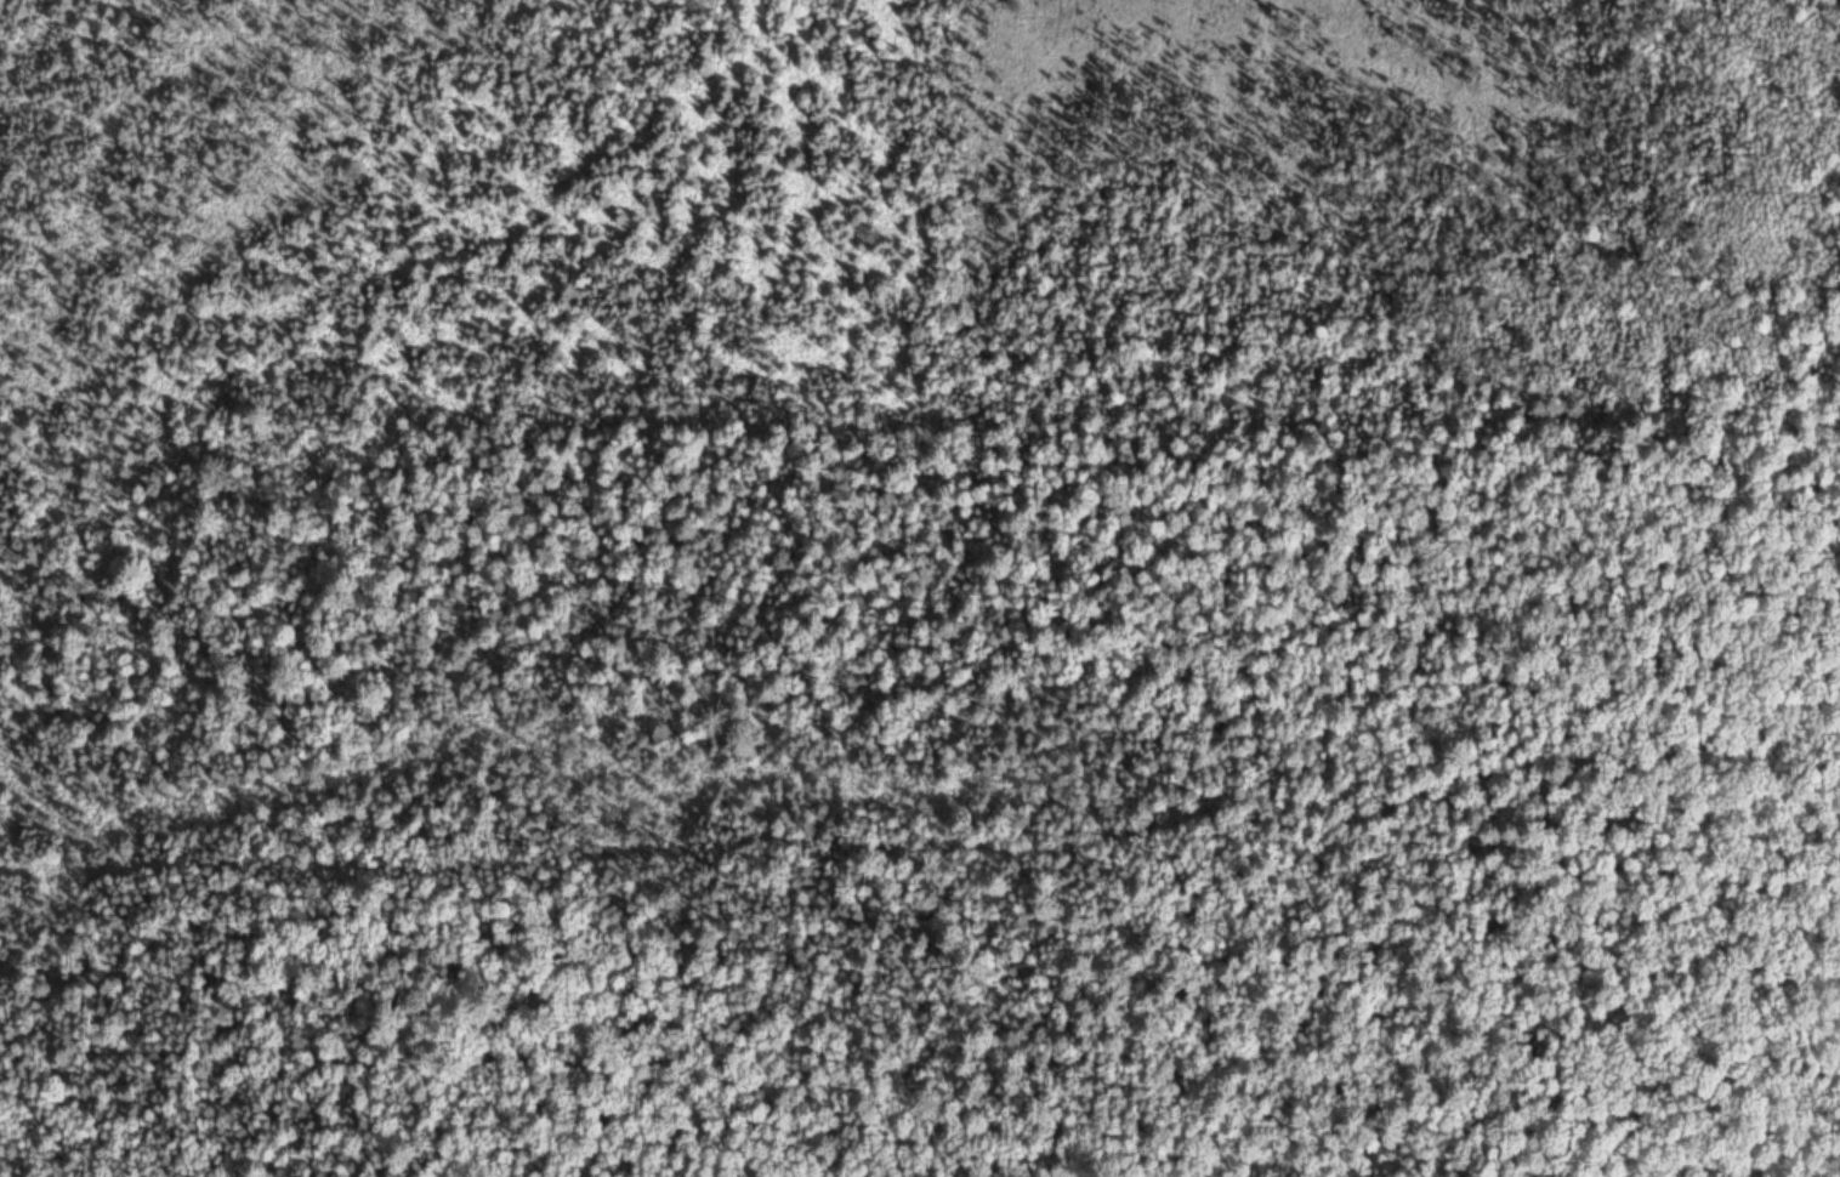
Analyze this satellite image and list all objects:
road: (1793, 1152)

